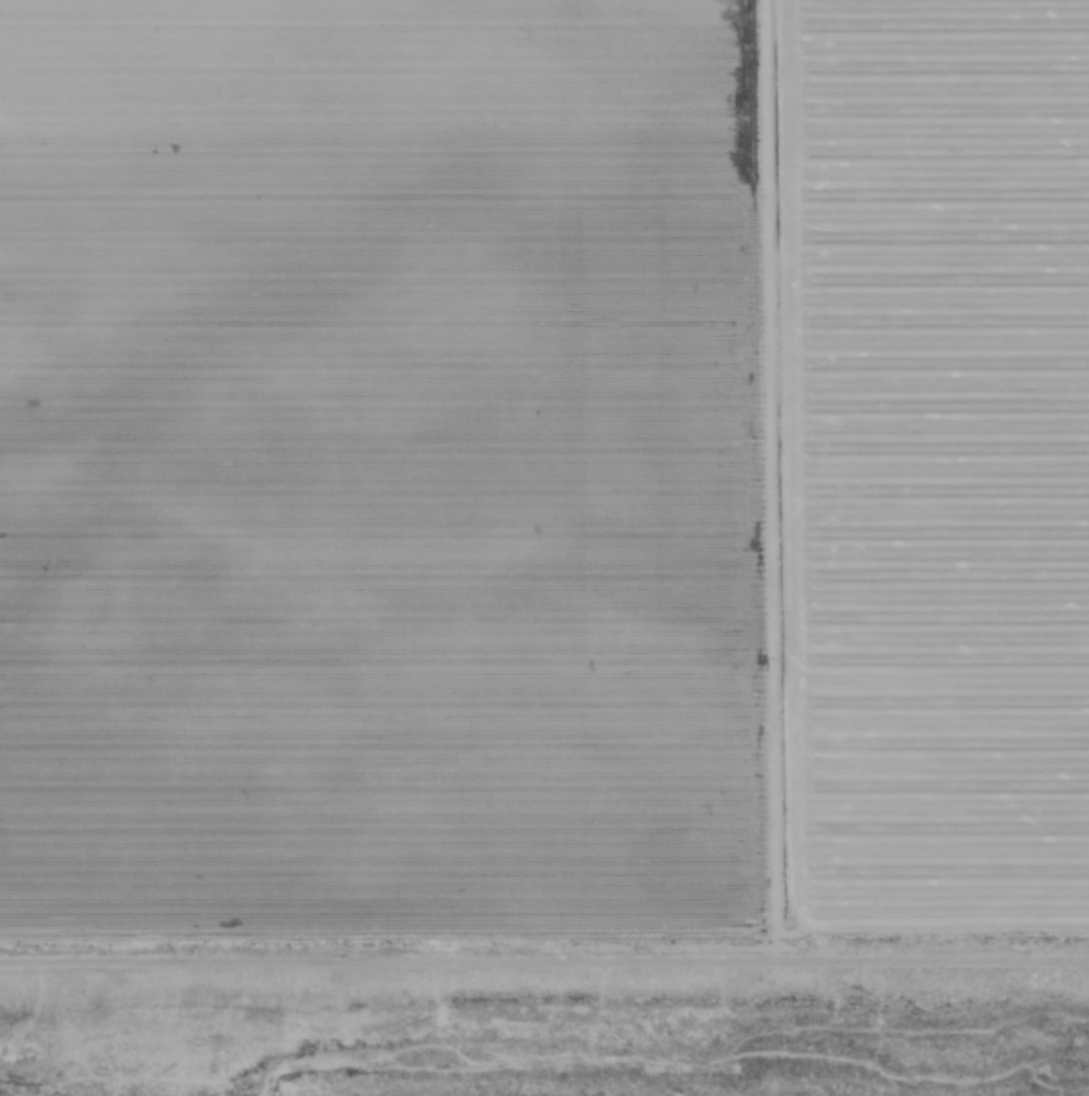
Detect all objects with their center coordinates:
crop: (543, 478)

